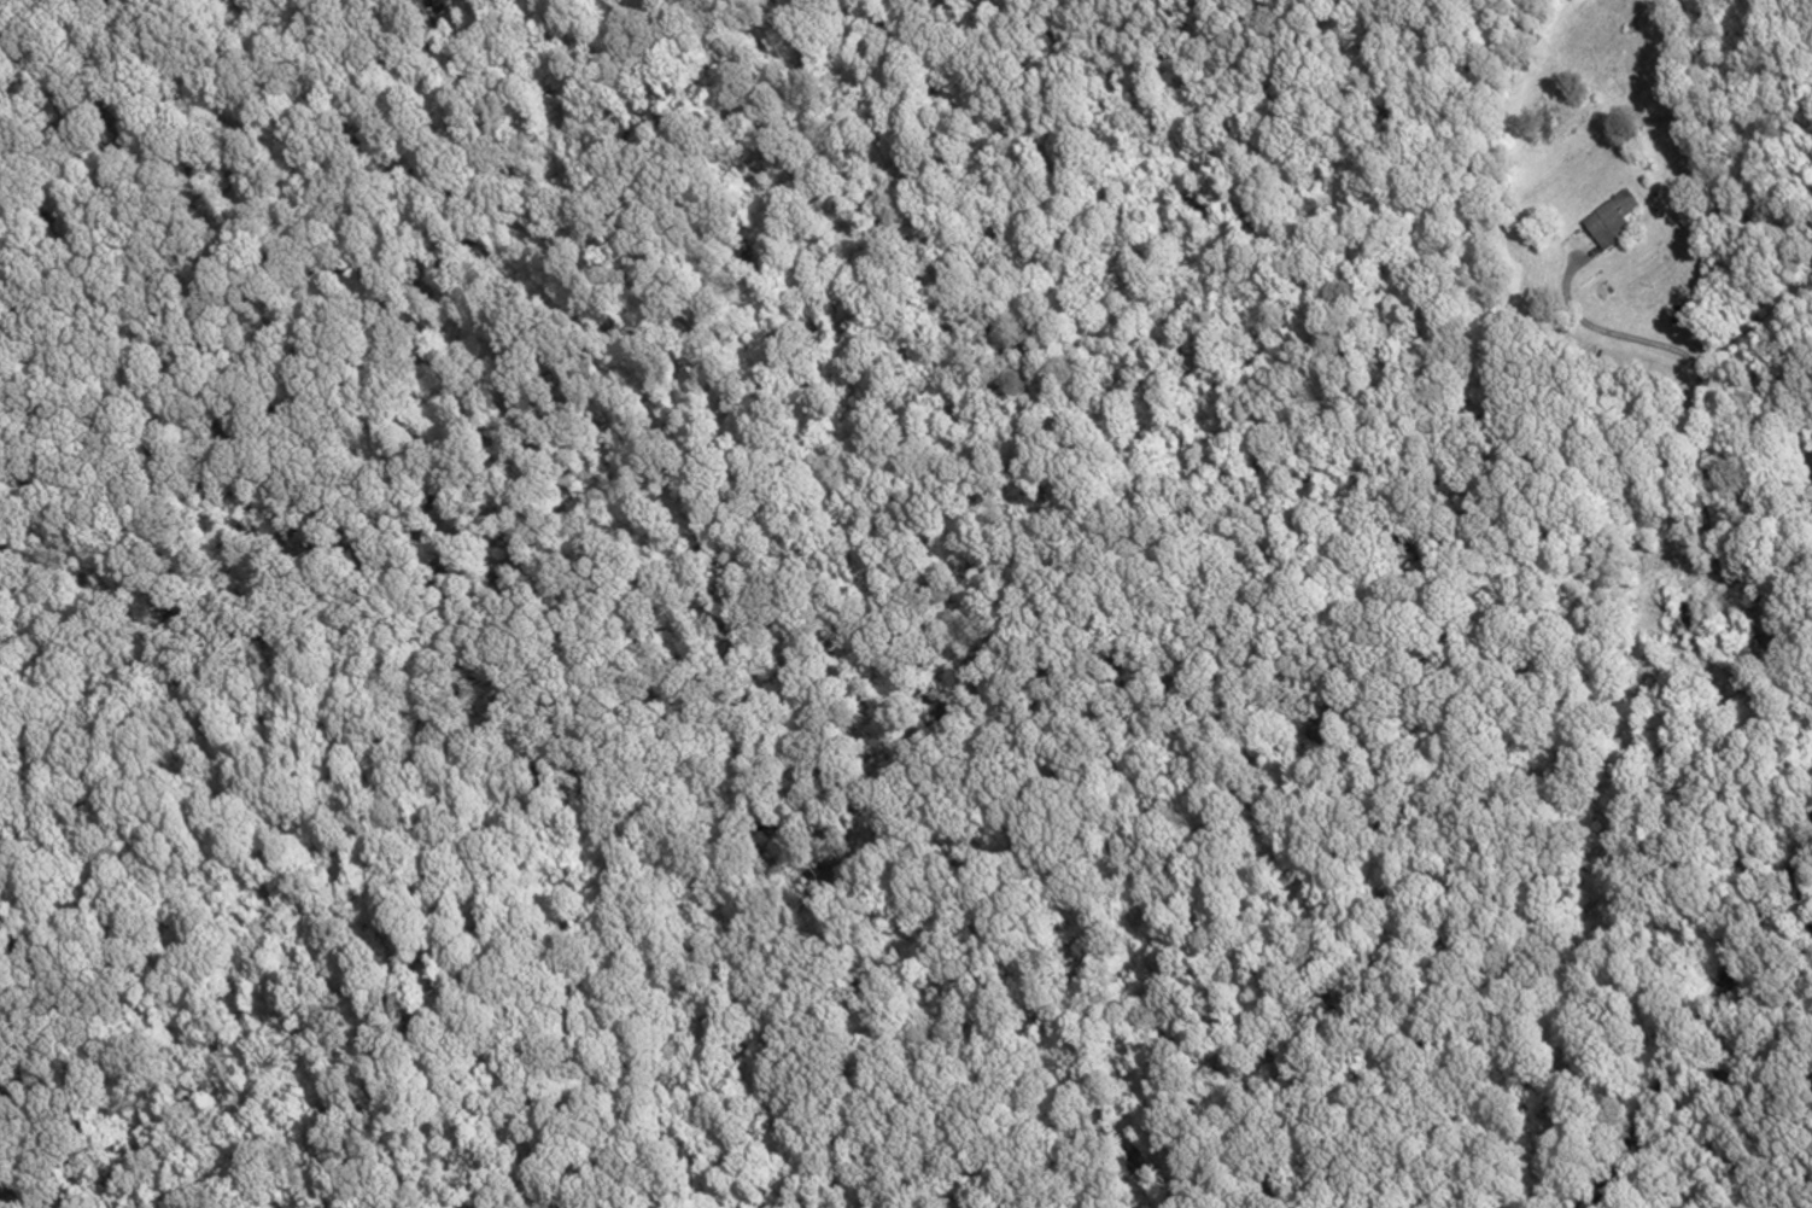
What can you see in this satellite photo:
building: (1612, 221)
building: (1677, 316)
building: (1691, 319)
building: (1619, 364)
road: (1703, 426)
building: (1676, 620)
road: (1806, 856)
road: (1807, 888)
road: (1703, 1019)

